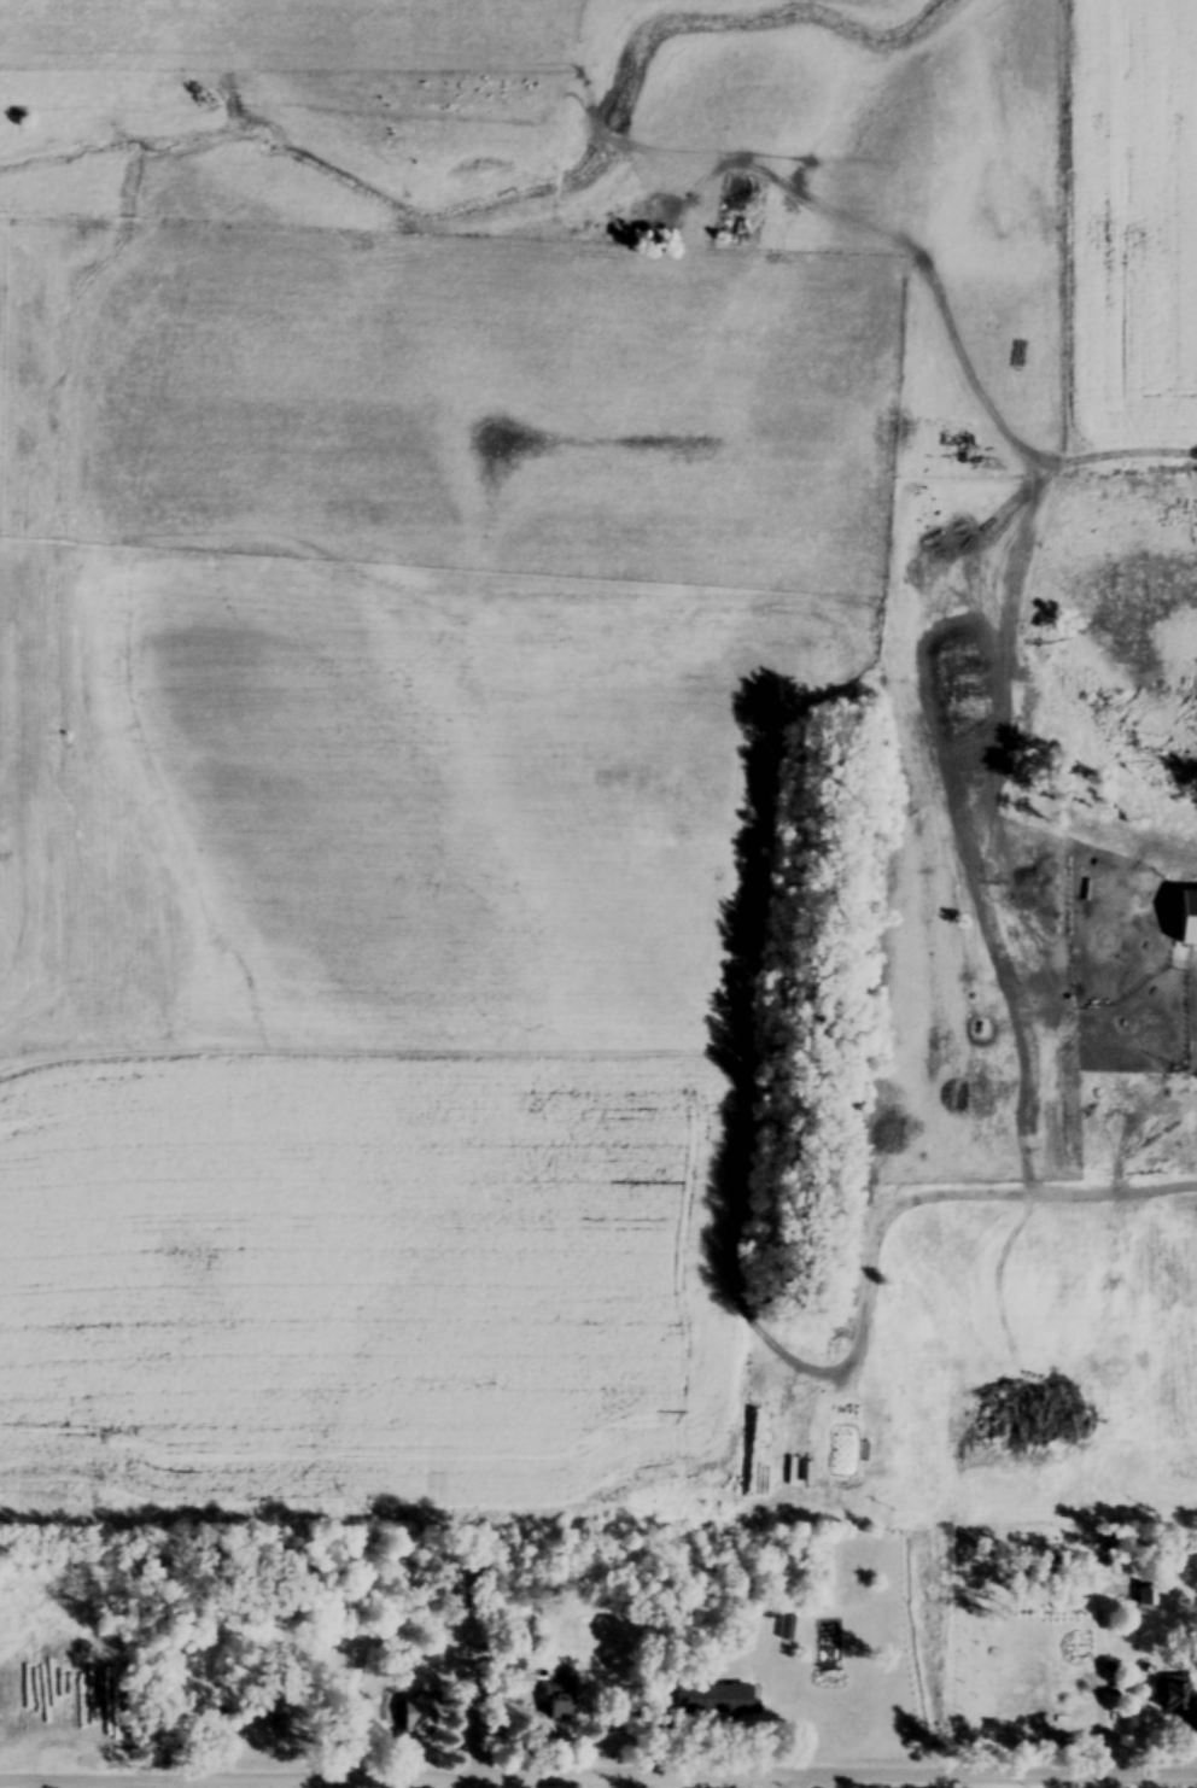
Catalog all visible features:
building: (933, 695)
building: (1184, 935)
road: (742, 1062)
building: (1137, 1339)
building: (1145, 1599)
road: (1093, 1693)
road: (471, 1695)
building: (564, 1704)
building: (1181, 1704)
building: (416, 1714)
building: (274, 1724)
road: (706, 1780)
road: (786, 1783)

